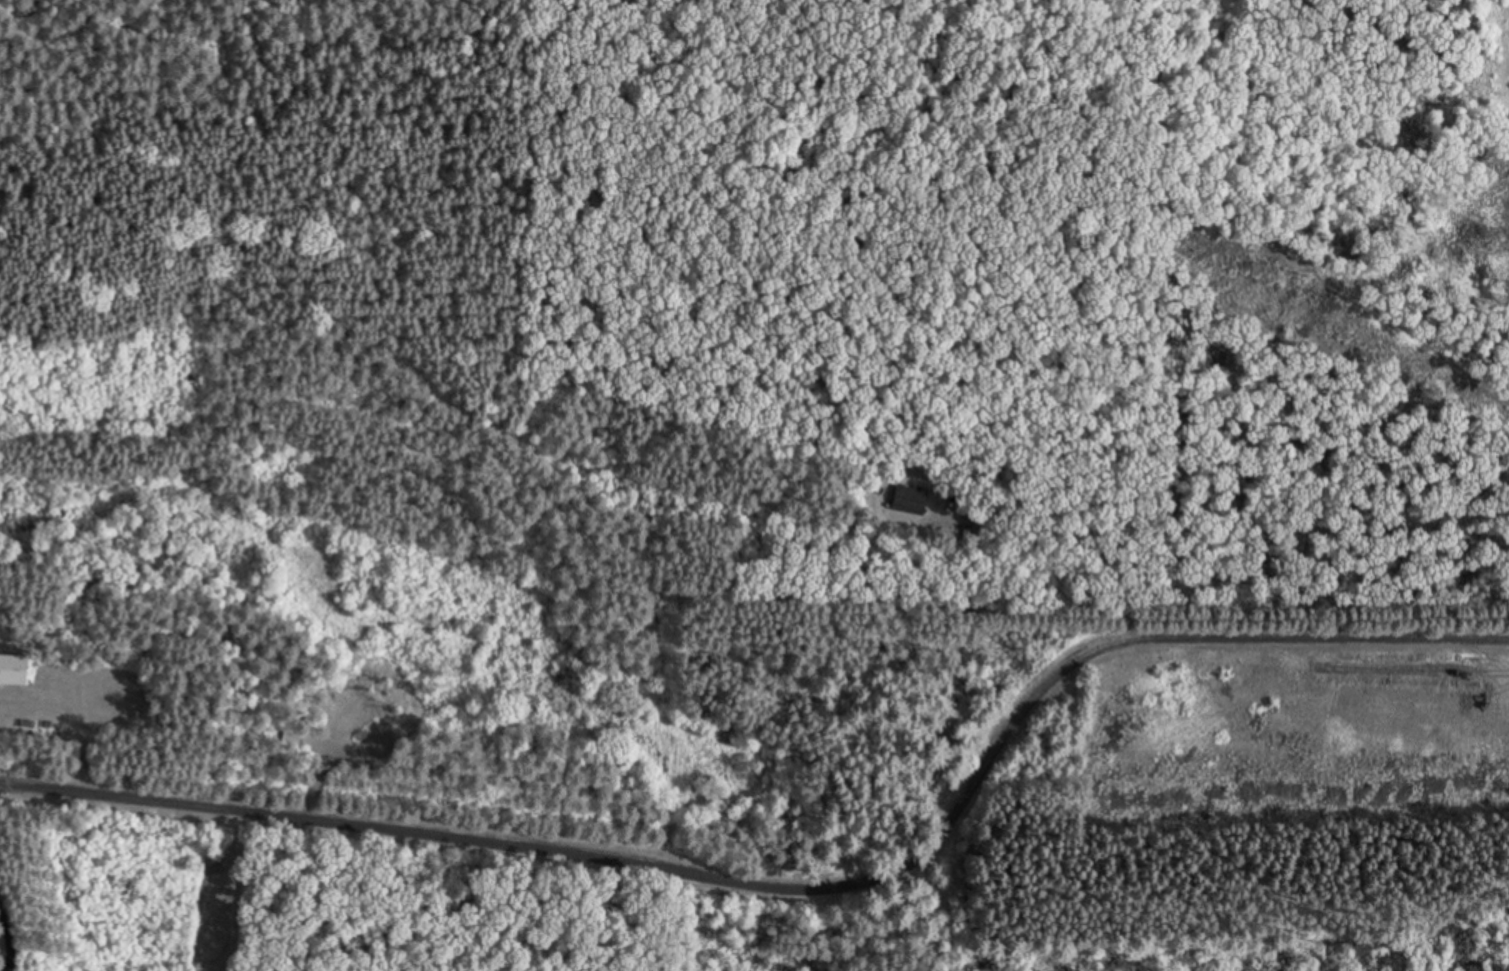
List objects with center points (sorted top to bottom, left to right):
building: (868, 492)
building: (910, 499)
building: (14, 669)
parking lot: (1436, 709)
road: (806, 883)
road: (226, 887)

